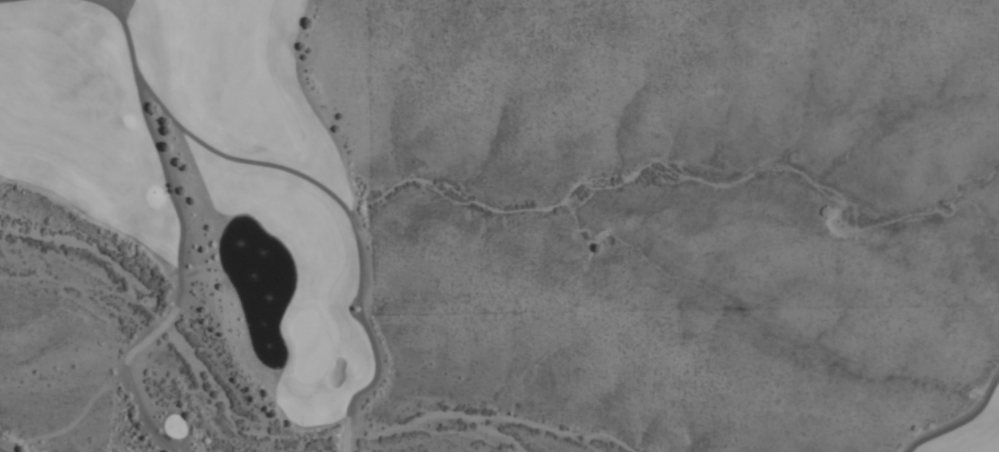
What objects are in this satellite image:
road: (107, 5)
road: (117, 7)
road: (342, 208)
park: (205, 226)
road: (176, 246)
park: (960, 405)
road: (956, 416)
road: (4, 449)

